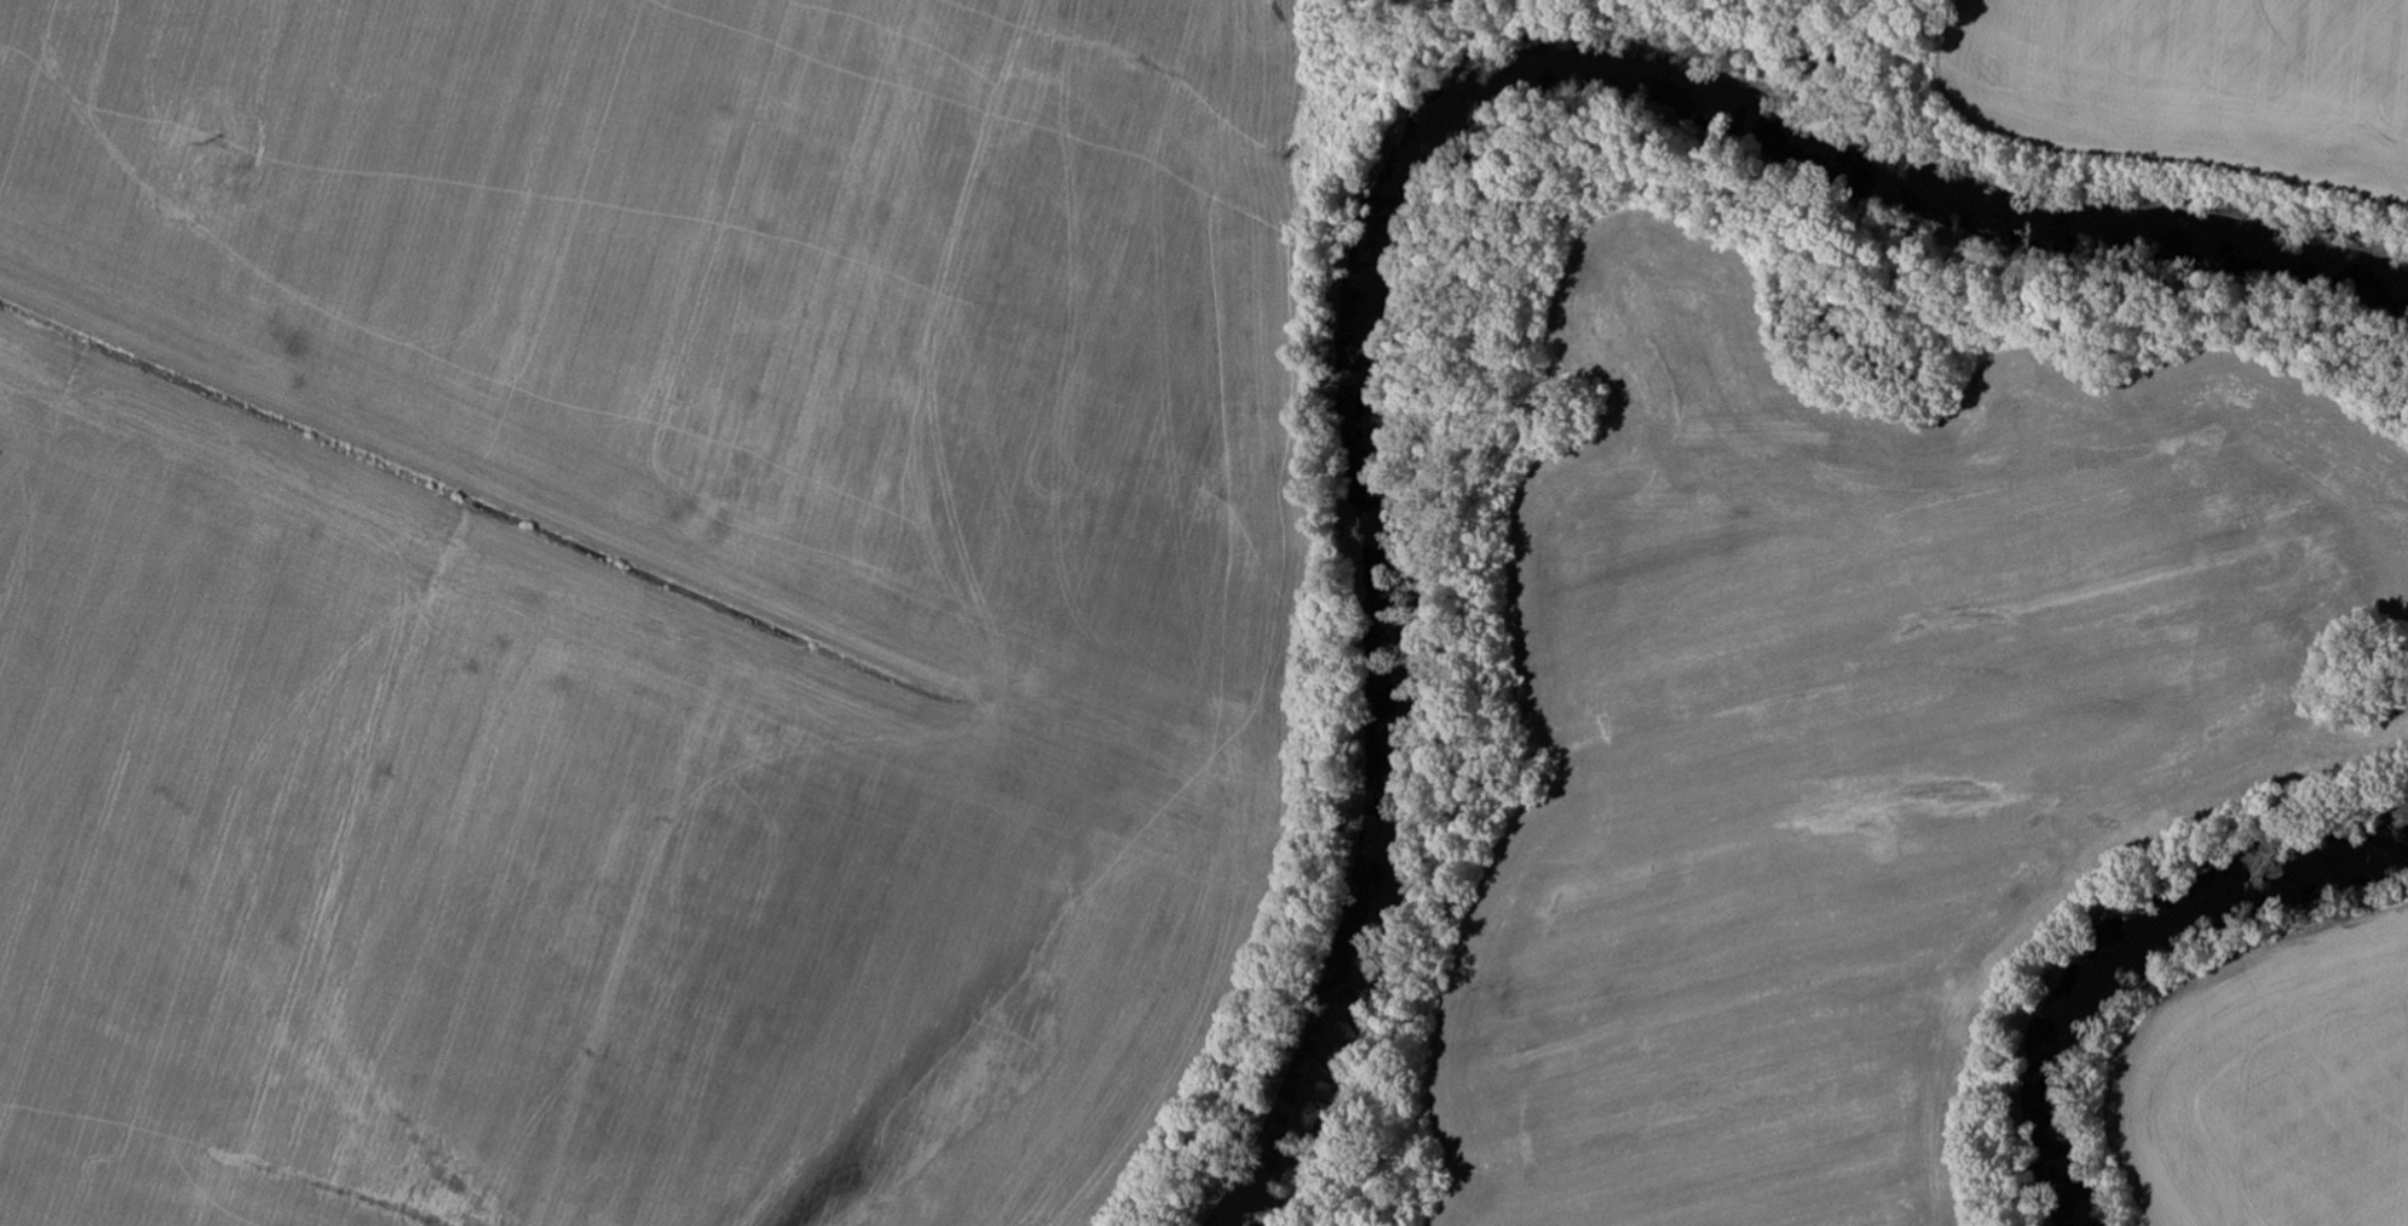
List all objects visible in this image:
river: (1393, 171)
river: (2133, 960)

